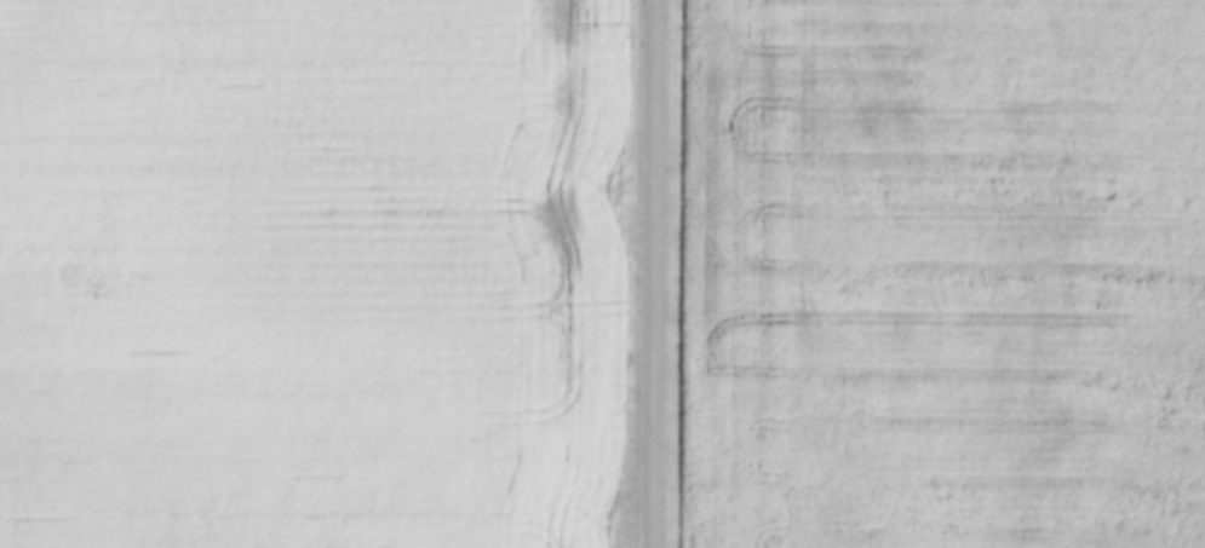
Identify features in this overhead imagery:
road: (658, 273)

